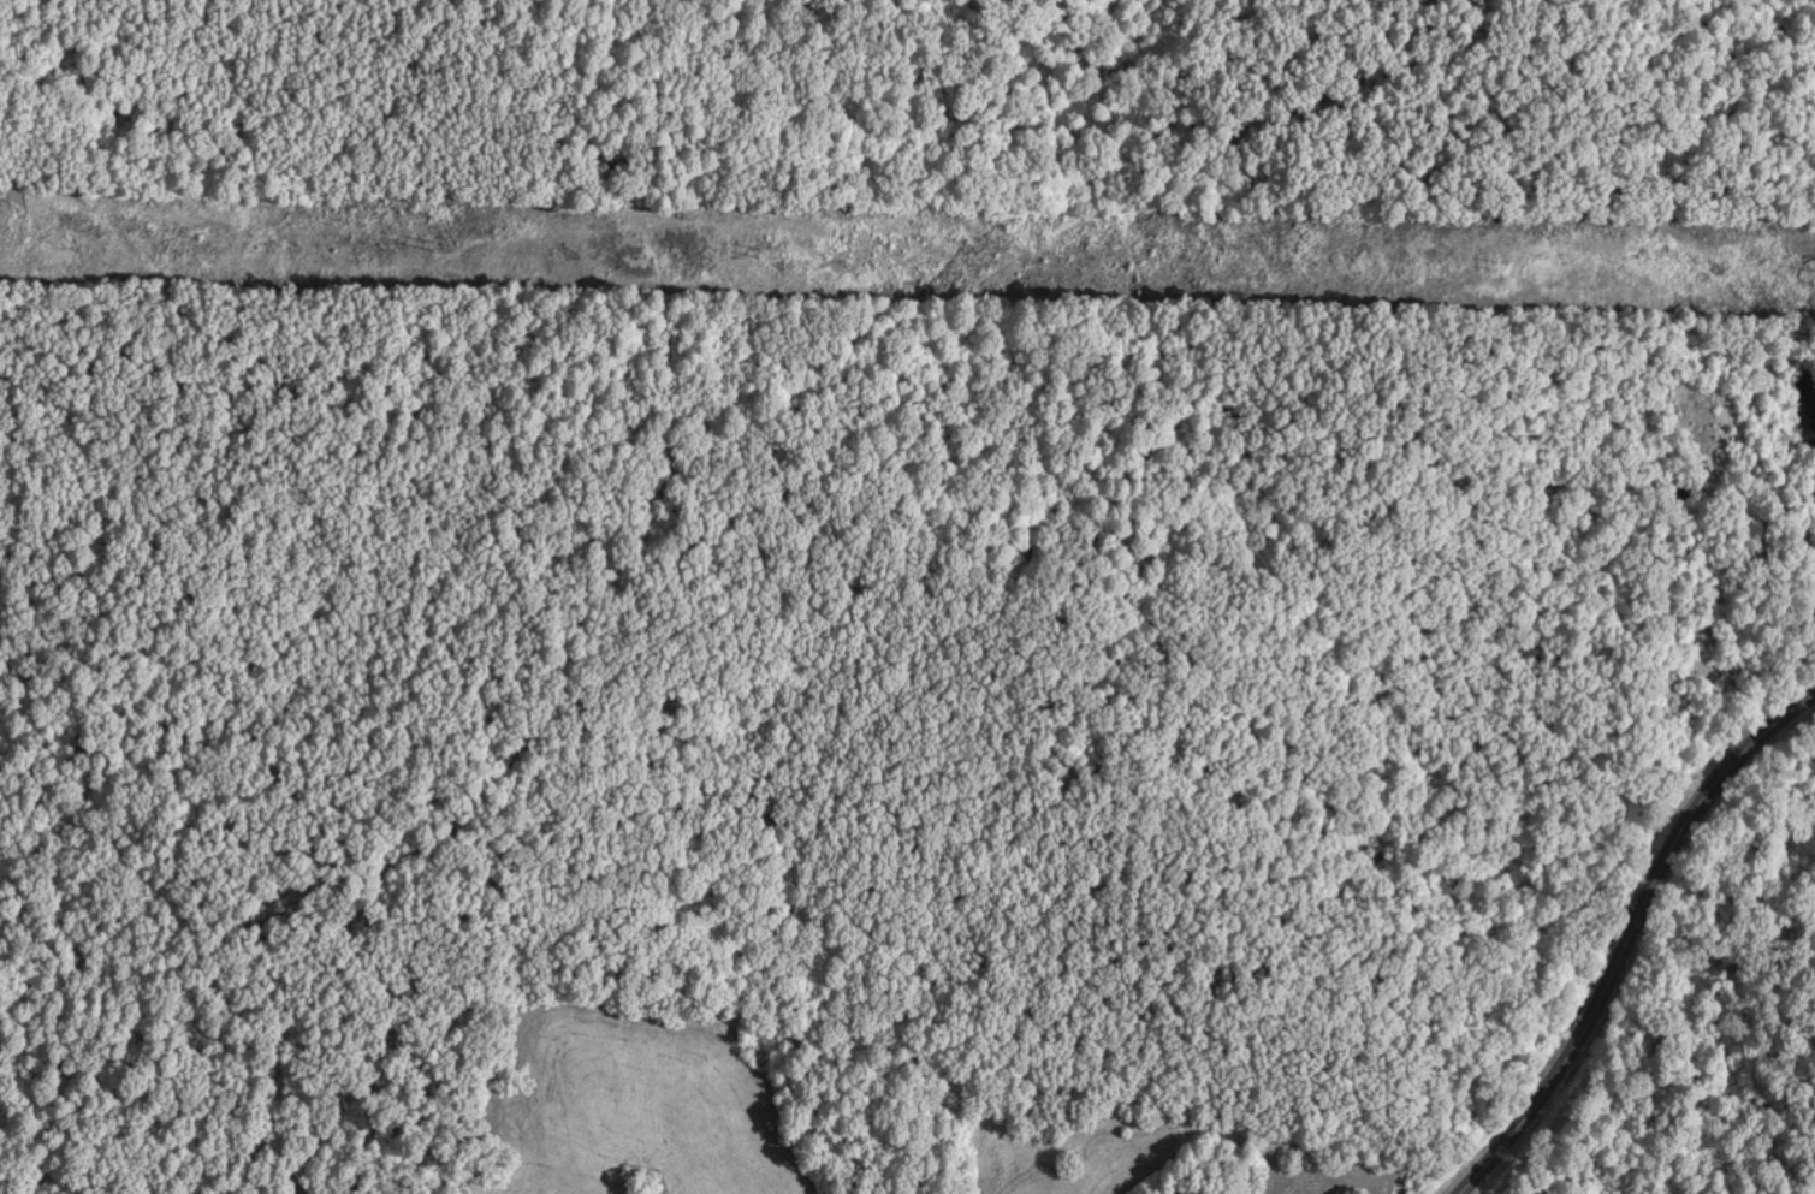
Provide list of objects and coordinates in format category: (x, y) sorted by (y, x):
road: (1630, 938)

